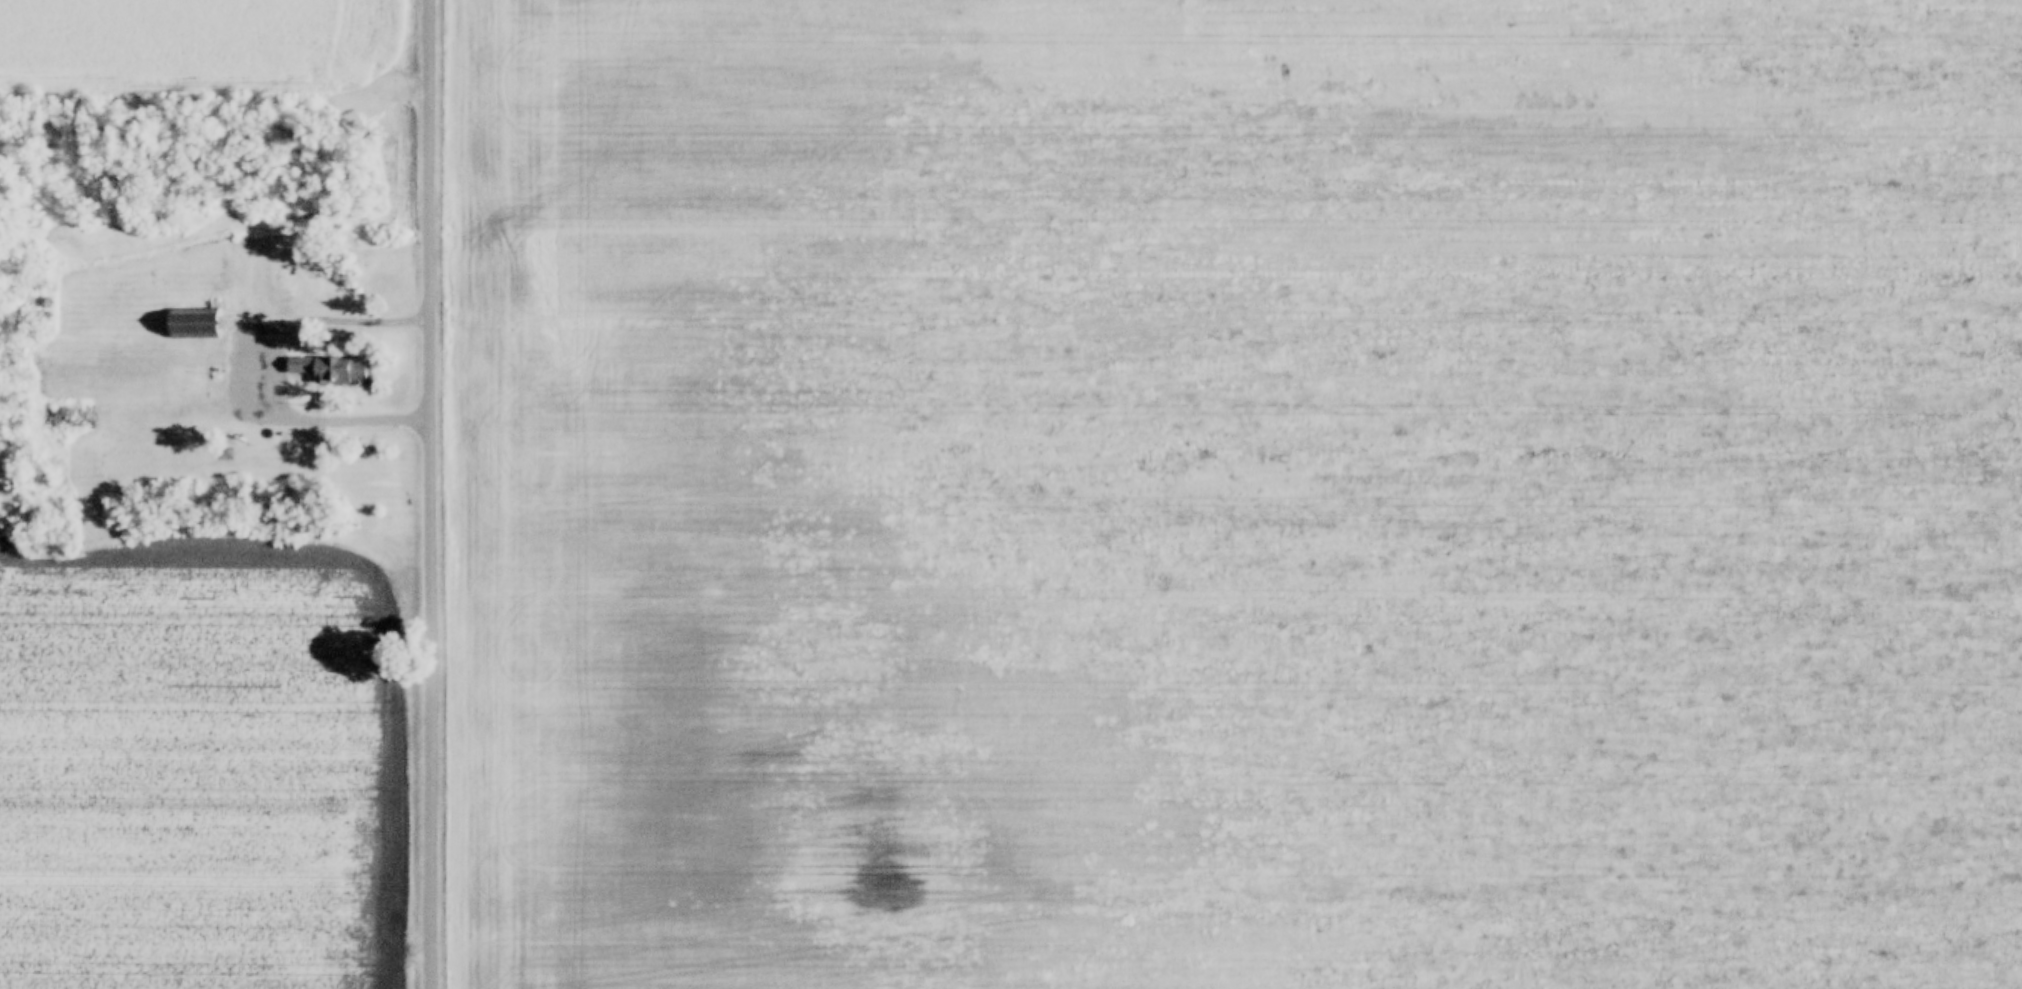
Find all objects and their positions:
building: (198, 323)
road: (278, 366)
building: (331, 366)
building: (67, 416)
road: (206, 417)
road: (431, 494)

